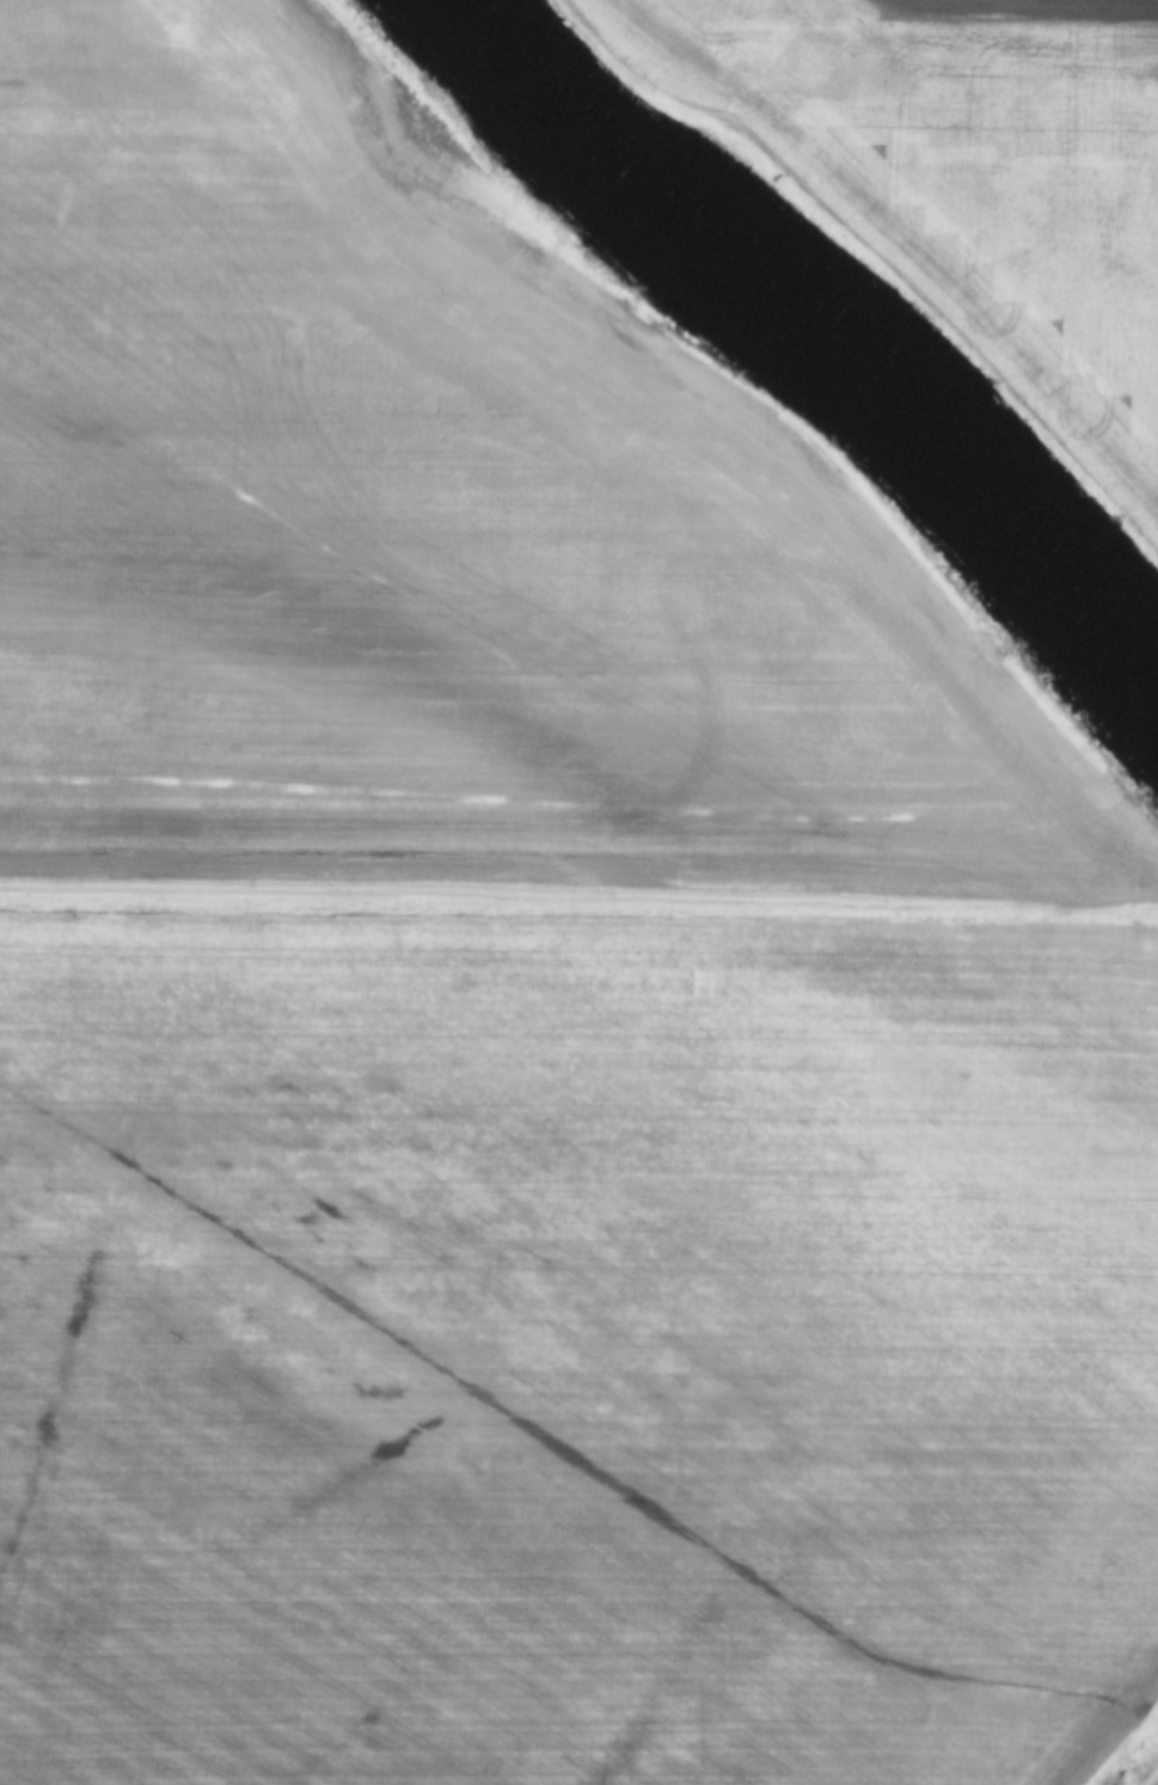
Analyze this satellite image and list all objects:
river: (816, 329)
road: (578, 916)

